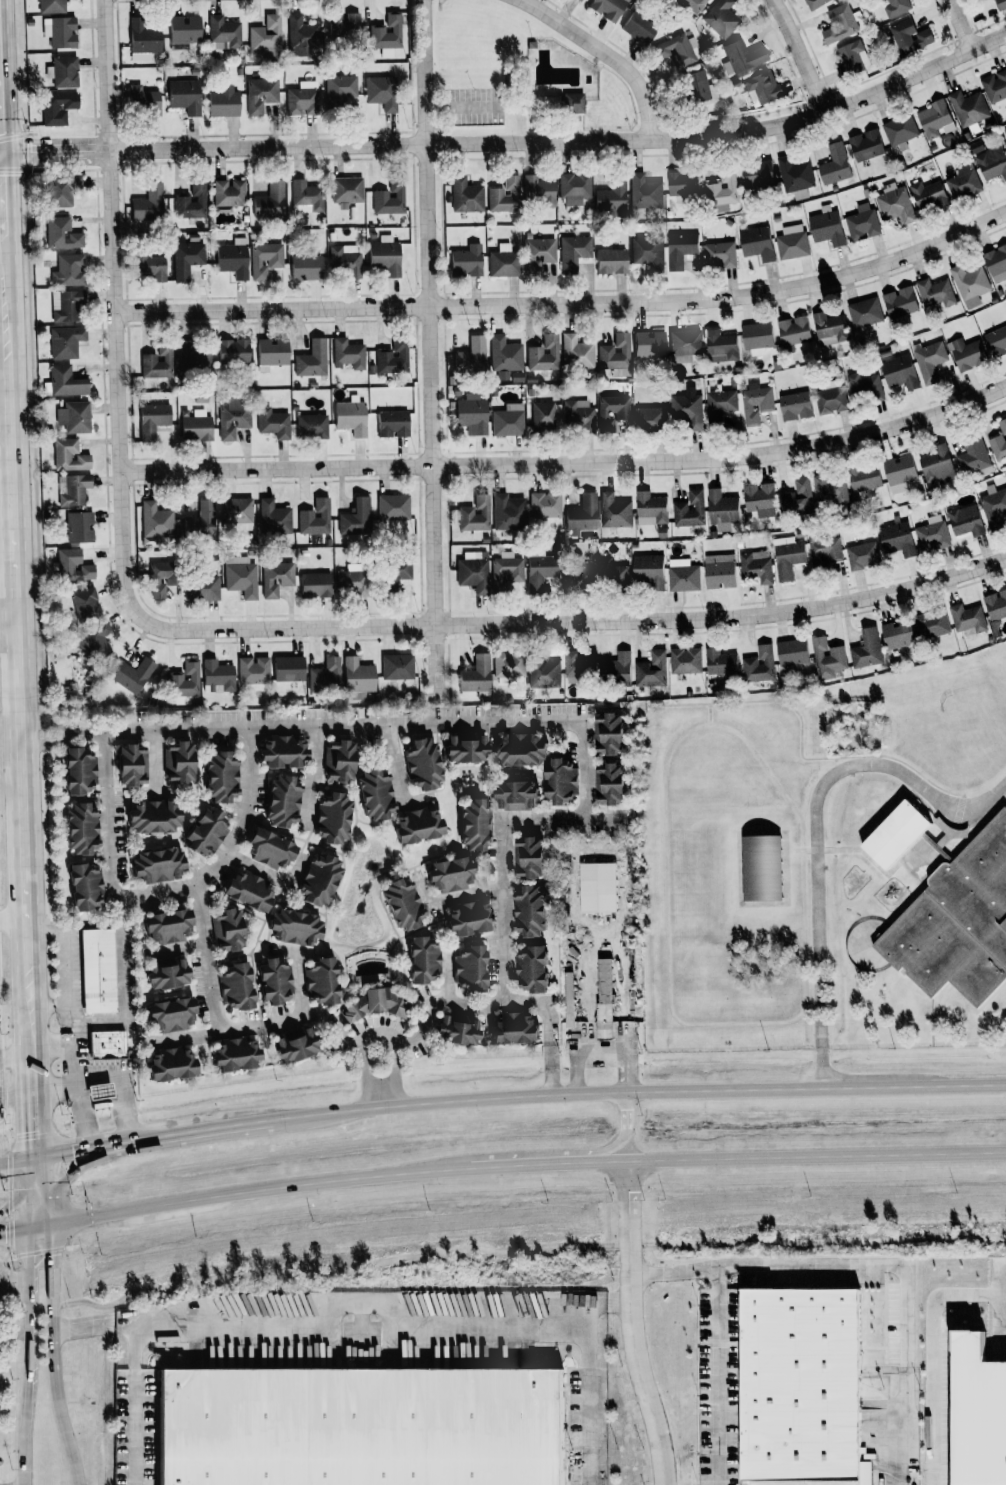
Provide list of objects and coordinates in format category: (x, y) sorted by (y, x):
building: (578, 0)
building: (982, 0)
building: (815, 3)
building: (1000, 4)
building: (693, 5)
building: (52, 6)
building: (896, 7)
building: (608, 8)
building: (722, 18)
building: (345, 24)
building: (840, 24)
road: (958, 25)
building: (639, 27)
building: (184, 29)
building: (60, 31)
building: (224, 33)
building: (387, 34)
building: (302, 36)
building: (266, 37)
building: (910, 37)
building: (143, 38)
park: (477, 40)
building: (676, 51)
road: (604, 54)
road: (797, 55)
building: (742, 57)
building: (853, 58)
building: (63, 71)
park: (518, 74)
building: (995, 86)
building: (762, 87)
building: (339, 90)
building: (381, 92)
building: (261, 94)
building: (185, 96)
building: (143, 99)
building: (302, 101)
building: (223, 103)
building: (573, 103)
parking lot: (472, 106)
road: (485, 106)
building: (58, 108)
building: (968, 108)
building: (935, 120)
building: (900, 130)
building: (1004, 131)
road: (568, 142)
building: (866, 145)
road: (56, 149)
building: (992, 162)
building: (835, 164)
building: (758, 175)
building: (795, 177)
building: (963, 182)
building: (683, 183)
building: (575, 185)
building: (347, 189)
building: (722, 189)
building: (62, 190)
building: (539, 191)
building: (229, 192)
building: (645, 192)
building: (466, 195)
building: (504, 195)
building: (929, 195)
building: (306, 197)
building: (389, 199)
building: (612, 199)
building: (271, 201)
building: (149, 202)
building: (192, 202)
road: (1, 203)
building: (895, 205)
building: (862, 222)
building: (827, 227)
building: (62, 233)
building: (792, 242)
building: (757, 243)
building: (680, 249)
building: (574, 252)
building: (648, 253)
building: (538, 254)
building: (719, 255)
building: (385, 256)
building: (186, 258)
building: (233, 258)
building: (265, 259)
building: (345, 260)
building: (467, 261)
building: (503, 261)
building: (611, 261)
building: (996, 263)
building: (151, 266)
building: (306, 267)
building: (69, 270)
building: (970, 282)
building: (935, 293)
road: (567, 301)
building: (900, 304)
building: (65, 305)
building: (865, 312)
building: (829, 328)
building: (794, 330)
road: (118, 332)
building: (757, 337)
building: (65, 341)
building: (996, 342)
building: (649, 344)
building: (685, 345)
building: (721, 346)
road: (427, 349)
building: (233, 351)
building: (577, 352)
building: (271, 353)
building: (472, 353)
building: (544, 353)
building: (347, 354)
building: (967, 354)
building: (616, 355)
building: (504, 356)
building: (393, 357)
building: (193, 358)
building: (312, 359)
building: (929, 361)
building: (157, 362)
building: (900, 372)
building: (65, 381)
building: (864, 387)
building: (831, 400)
building: (756, 403)
building: (795, 406)
building: (721, 408)
building: (687, 410)
building: (613, 411)
building: (471, 413)
building: (579, 415)
building: (543, 416)
building: (74, 417)
building: (233, 417)
building: (351, 417)
building: (152, 419)
building: (649, 419)
building: (508, 420)
building: (273, 423)
building: (392, 423)
building: (195, 425)
building: (312, 426)
building: (999, 442)
building: (69, 455)
road: (566, 456)
building: (973, 457)
building: (937, 465)
building: (900, 472)
building: (865, 480)
building: (831, 488)
building: (72, 489)
building: (760, 499)
building: (798, 500)
building: (545, 504)
building: (994, 506)
building: (393, 507)
building: (651, 509)
building: (690, 510)
building: (722, 510)
building: (615, 511)
building: (237, 512)
building: (508, 512)
building: (475, 514)
building: (582, 515)
building: (315, 517)
building: (356, 517)
building: (273, 518)
building: (201, 519)
building: (965, 521)
building: (156, 522)
building: (79, 527)
building: (932, 534)
building: (897, 539)
building: (826, 551)
building: (863, 555)
building: (787, 557)
building: (73, 565)
building: (756, 567)
building: (507, 568)
building: (474, 571)
building: (540, 571)
building: (649, 571)
building: (720, 571)
building: (398, 572)
building: (612, 574)
building: (683, 575)
building: (241, 576)
building: (162, 577)
building: (276, 577)
building: (578, 578)
building: (352, 580)
building: (315, 584)
building: (205, 587)
building: (85, 602)
building: (996, 605)
road: (19, 611)
road: (601, 614)
building: (968, 618)
building: (932, 624)
road: (10, 625)
building: (898, 634)
building: (92, 638)
building: (867, 649)
building: (792, 652)
building: (828, 658)
building: (685, 661)
building: (720, 662)
building: (759, 665)
building: (397, 666)
building: (578, 667)
building: (288, 668)
building: (616, 669)
building: (253, 670)
building: (652, 670)
building: (544, 673)
building: (133, 674)
building: (476, 674)
building: (325, 675)
building: (217, 676)
building: (358, 678)
building: (185, 679)
road: (504, 721)
road: (49, 730)
building: (609, 734)
building: (465, 747)
building: (521, 749)
building: (283, 752)
road: (154, 761)
building: (178, 761)
building: (339, 761)
road: (397, 761)
building: (422, 764)
building: (132, 765)
building: (79, 770)
road: (312, 775)
building: (221, 777)
building: (561, 782)
building: (610, 785)
building: (375, 794)
building: (517, 795)
building: (282, 800)
building: (153, 816)
building: (333, 818)
building: (475, 824)
building: (417, 825)
road: (813, 825)
building: (81, 828)
building: (207, 831)
building: (896, 834)
building: (271, 849)
building: (530, 858)
building: (157, 865)
building: (762, 869)
road: (268, 870)
building: (449, 875)
building: (319, 879)
building: (86, 886)
road: (161, 887)
building: (598, 887)
building: (248, 890)
road: (456, 895)
building: (402, 904)
building: (531, 912)
road: (15, 917)
building: (469, 918)
building: (957, 923)
building: (167, 926)
building: (294, 927)
building: (227, 930)
building: (423, 959)
road: (618, 963)
road: (66, 965)
building: (469, 968)
building: (532, 969)
building: (98, 970)
building: (167, 973)
road: (447, 973)
building: (274, 980)
building: (321, 980)
road: (298, 983)
building: (236, 985)
road: (16, 989)
road: (210, 990)
road: (33, 996)
building: (605, 998)
road: (490, 1001)
building: (376, 1003)
building: (569, 1003)
building: (171, 1014)
road: (287, 1019)
building: (514, 1028)
building: (457, 1030)
road: (34, 1038)
road: (399, 1038)
road: (362, 1039)
building: (107, 1043)
building: (295, 1044)
building: (236, 1054)
road: (17, 1058)
road: (624, 1062)
building: (171, 1064)
road: (549, 1069)
road: (393, 1071)
road: (365, 1074)
road: (72, 1084)
road: (54, 1085)
road: (122, 1087)
building: (99, 1091)
road: (635, 1093)
road: (36, 1113)
road: (627, 1114)
road: (206, 1128)
road: (132, 1141)
road: (77, 1149)
traffic signals: (75, 1150)
road: (587, 1153)
road: (19, 1158)
road: (776, 1158)
road: (75, 1168)
traffic signals: (74, 1169)
road: (508, 1169)
road: (39, 1190)
road: (253, 1192)
road: (627, 1197)
road: (19, 1199)
traffic signals: (4, 1213)
road: (19, 1229)
traffic signals: (6, 1232)
traffic signals: (52, 1247)
road: (498, 1251)
road: (874, 1266)
road: (338, 1303)
road: (29, 1355)
road: (51, 1355)
road: (933, 1357)
road: (637, 1359)
road: (715, 1376)
building: (800, 1384)
road: (585, 1394)
road: (133, 1402)
building: (979, 1413)
building: (360, 1427)

